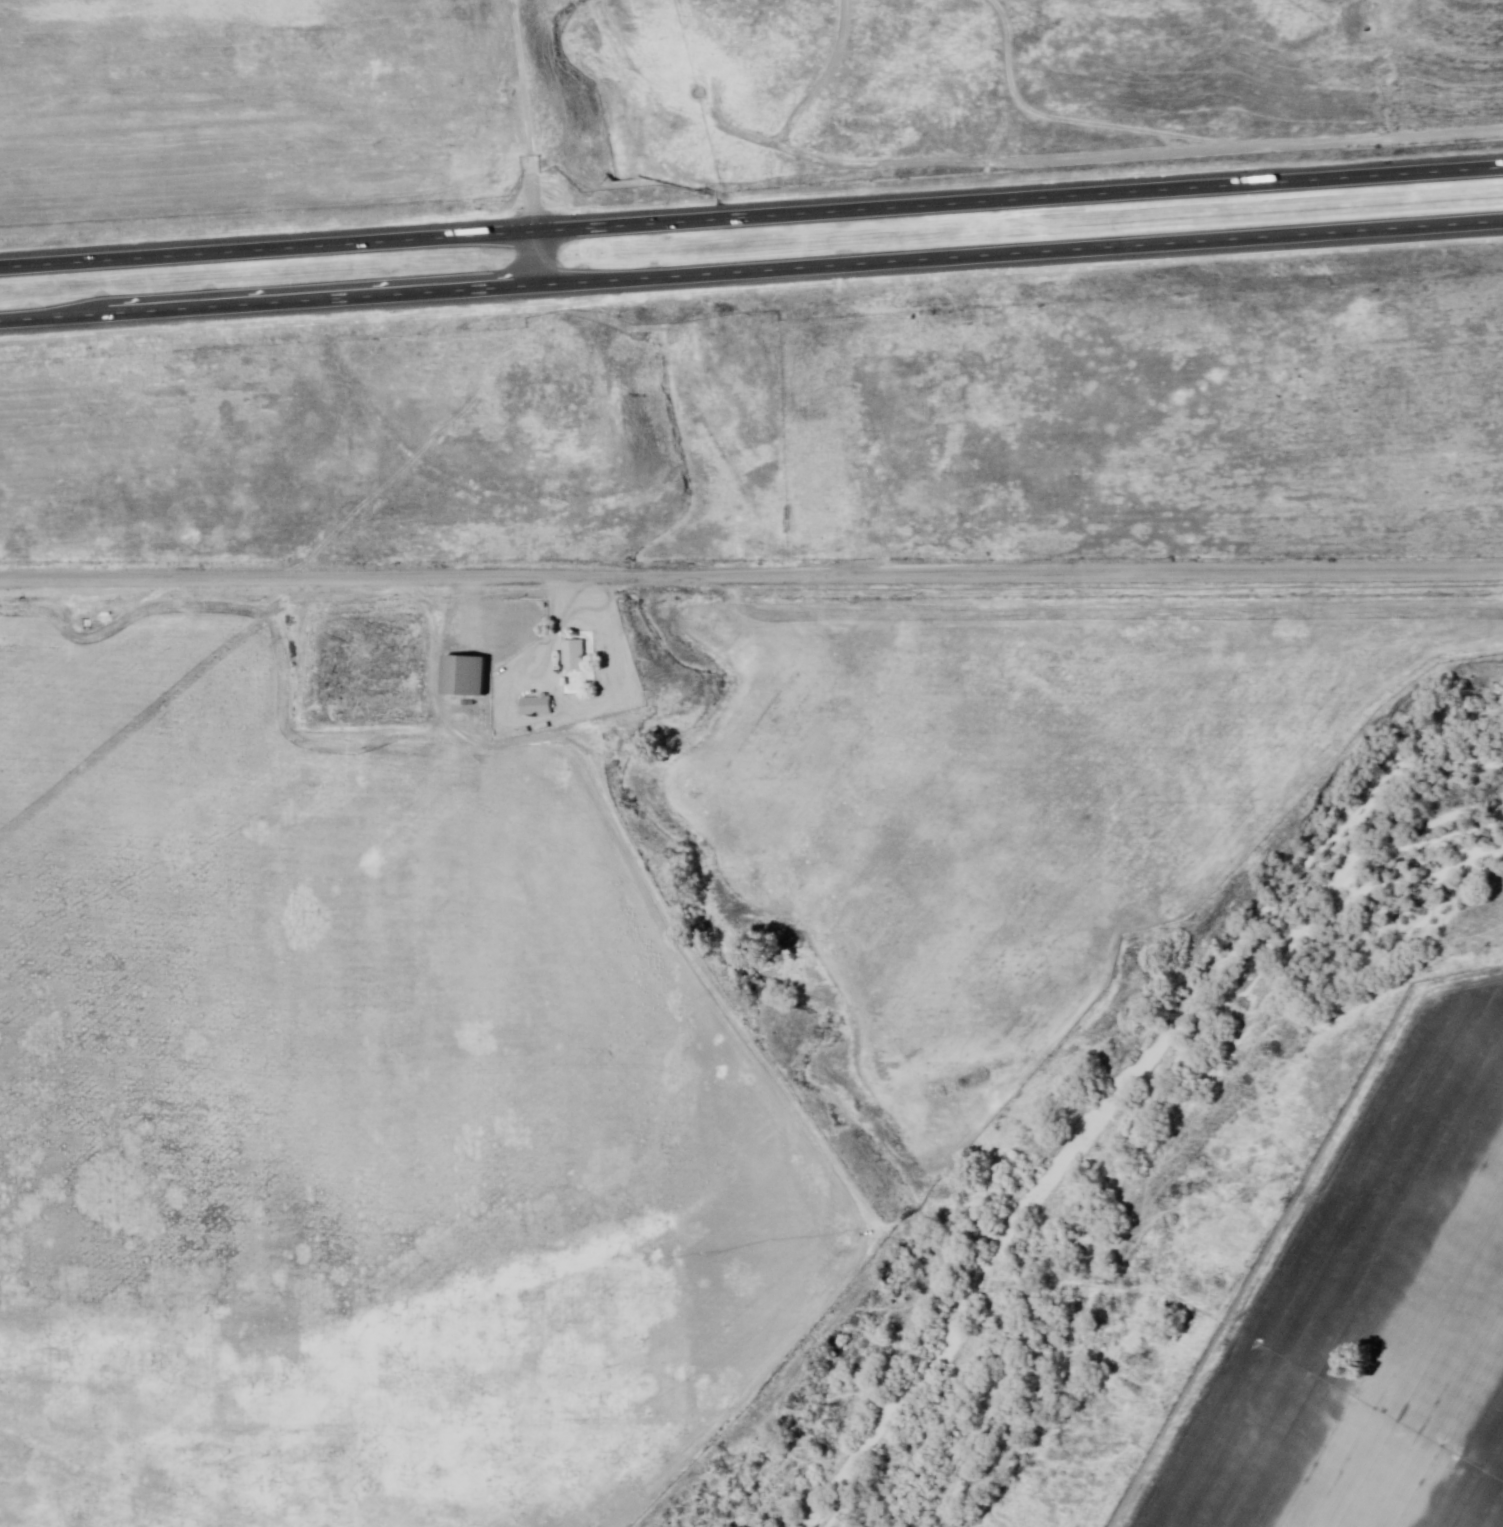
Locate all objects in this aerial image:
road: (1364, 57)
road: (522, 114)
road: (751, 216)
road: (539, 258)
road: (751, 272)
road: (751, 579)
building: (576, 657)
building: (464, 678)
building: (539, 705)
river: (1266, 1082)
crop: (345, 1108)
river: (923, 1425)

